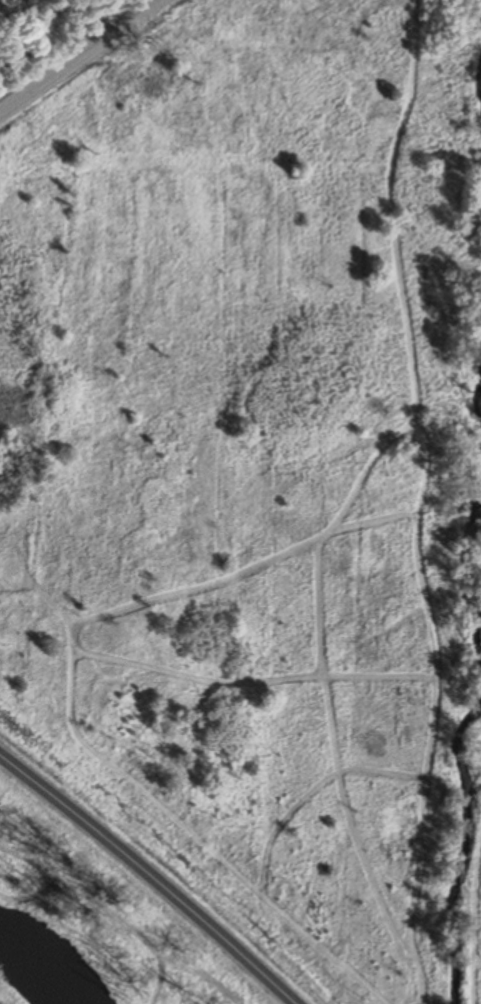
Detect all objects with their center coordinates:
road: (77, 57)
road: (149, 874)
river: (34, 968)

